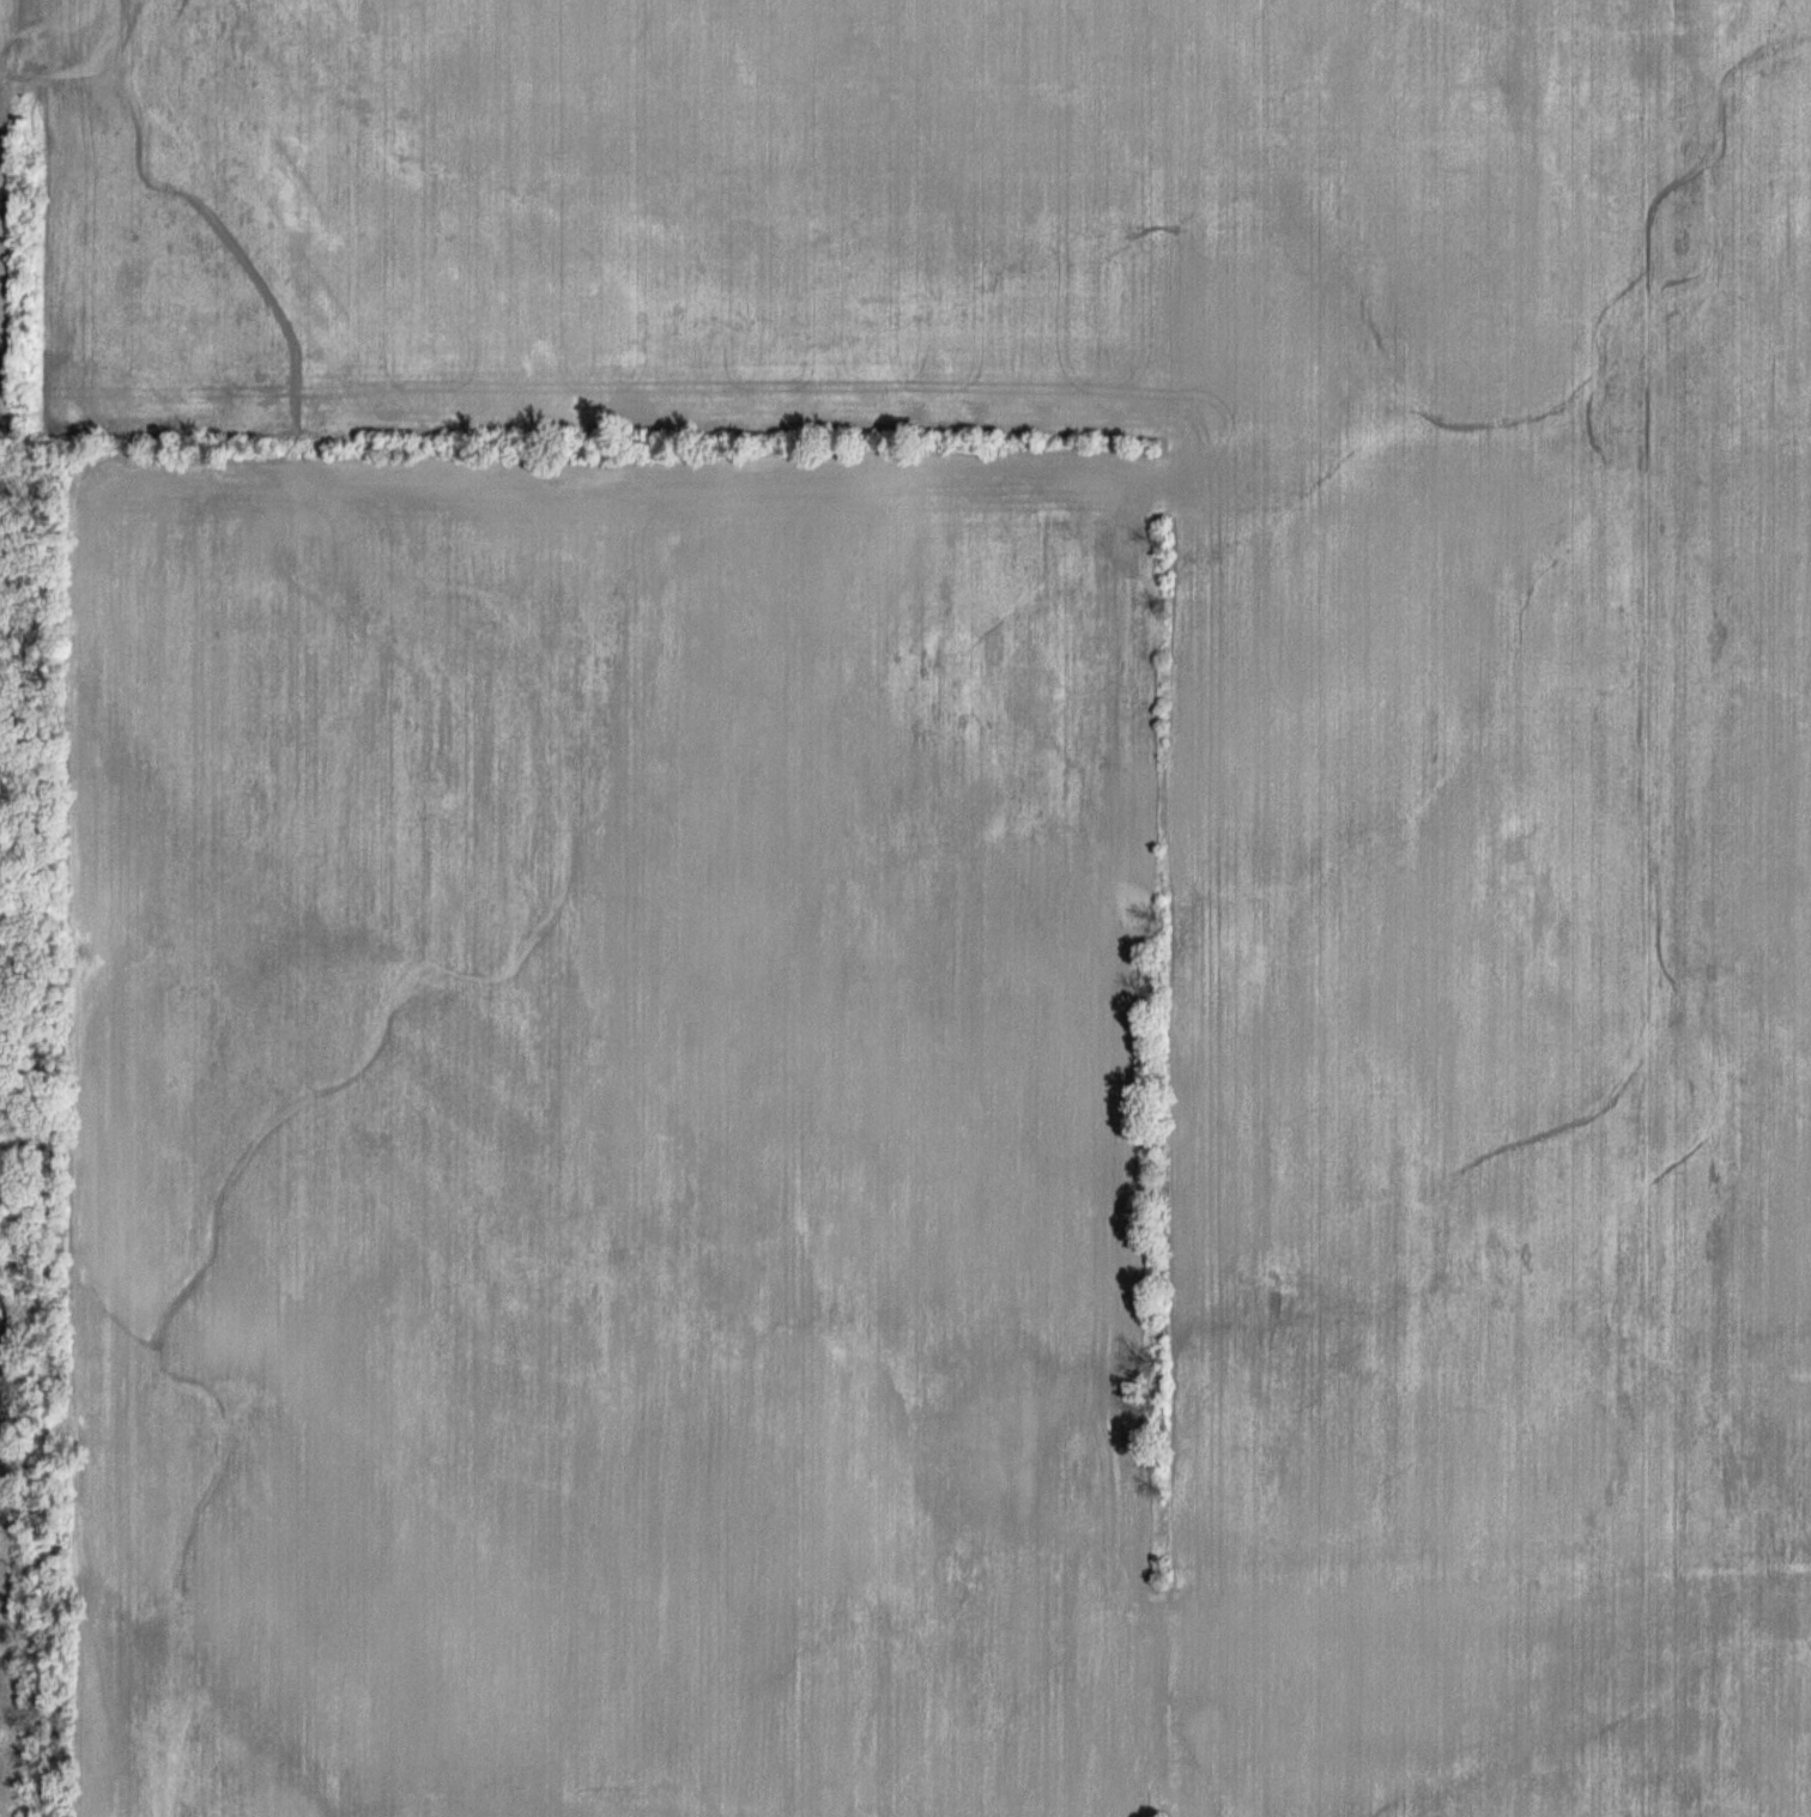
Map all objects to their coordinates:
crop: (921, 904)

